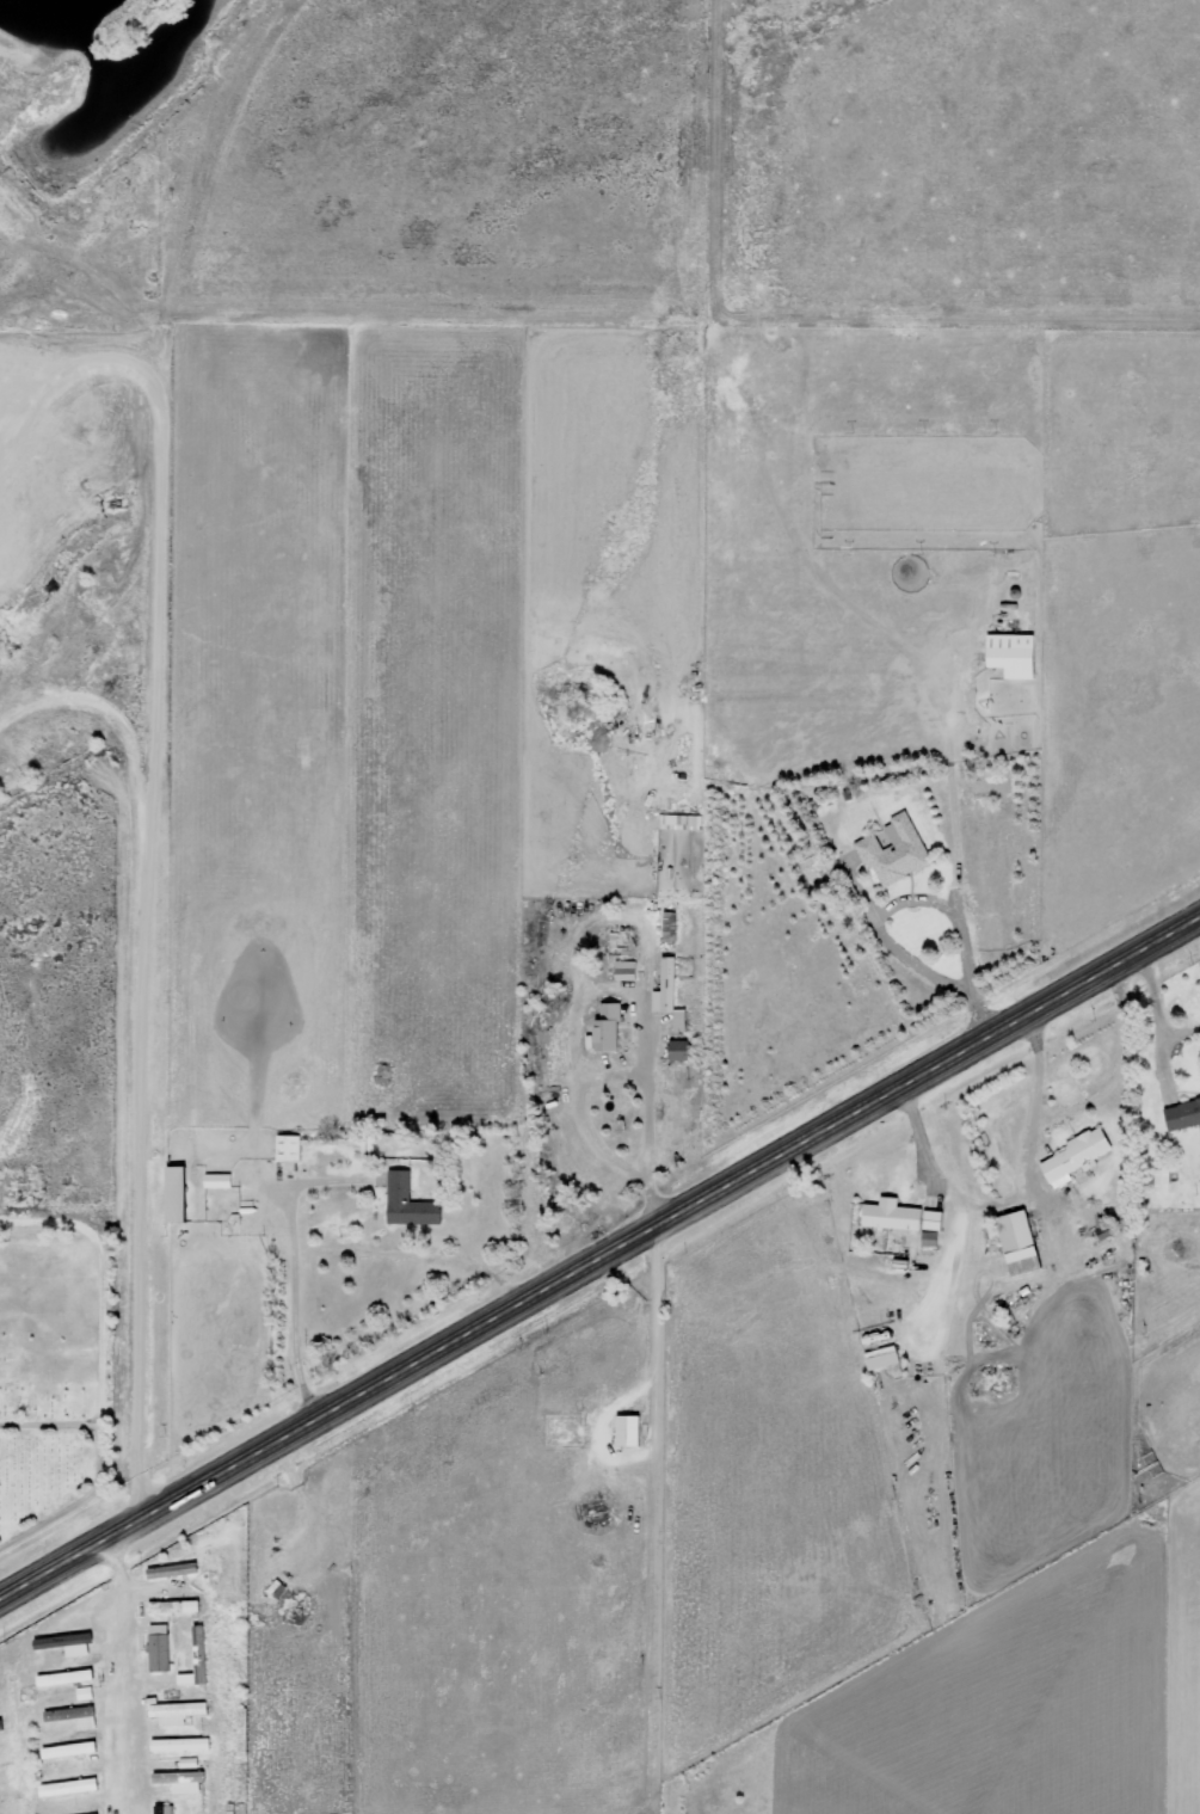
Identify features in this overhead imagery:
building: (1014, 653)
building: (682, 819)
building: (894, 850)
road: (143, 926)
building: (626, 970)
building: (669, 994)
building: (609, 1026)
building: (678, 1050)
building: (1182, 1114)
building: (288, 1146)
building: (1075, 1156)
building: (217, 1179)
building: (1162, 1179)
building: (177, 1193)
building: (408, 1201)
building: (901, 1216)
building: (929, 1237)
building: (1020, 1242)
road: (599, 1250)
building: (882, 1357)
park: (51, 1377)
building: (629, 1429)
building: (173, 1569)
building: (174, 1605)
building: (62, 1643)
building: (159, 1647)
building: (66, 1677)
building: (185, 1677)
building: (176, 1710)
building: (80, 1715)
building: (180, 1742)
building: (69, 1748)
building: (181, 1779)
building: (68, 1785)
building: (164, 1808)

